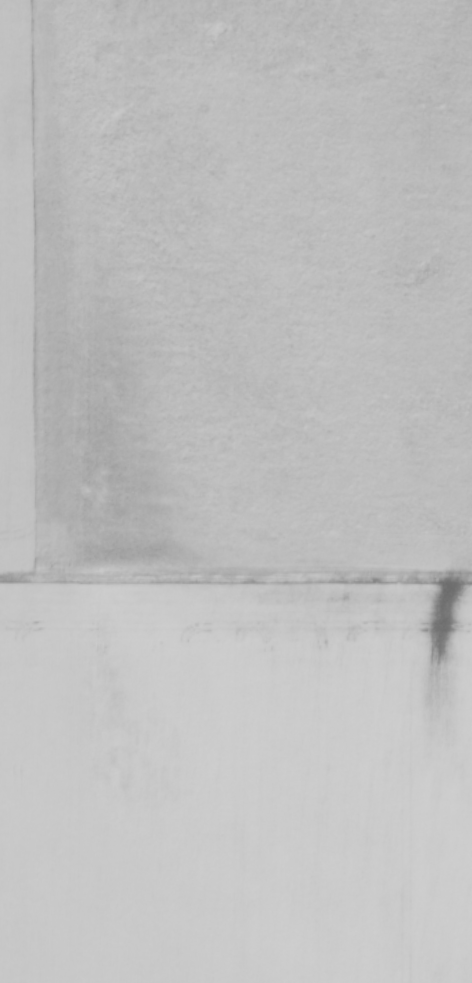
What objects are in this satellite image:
road: (236, 574)

